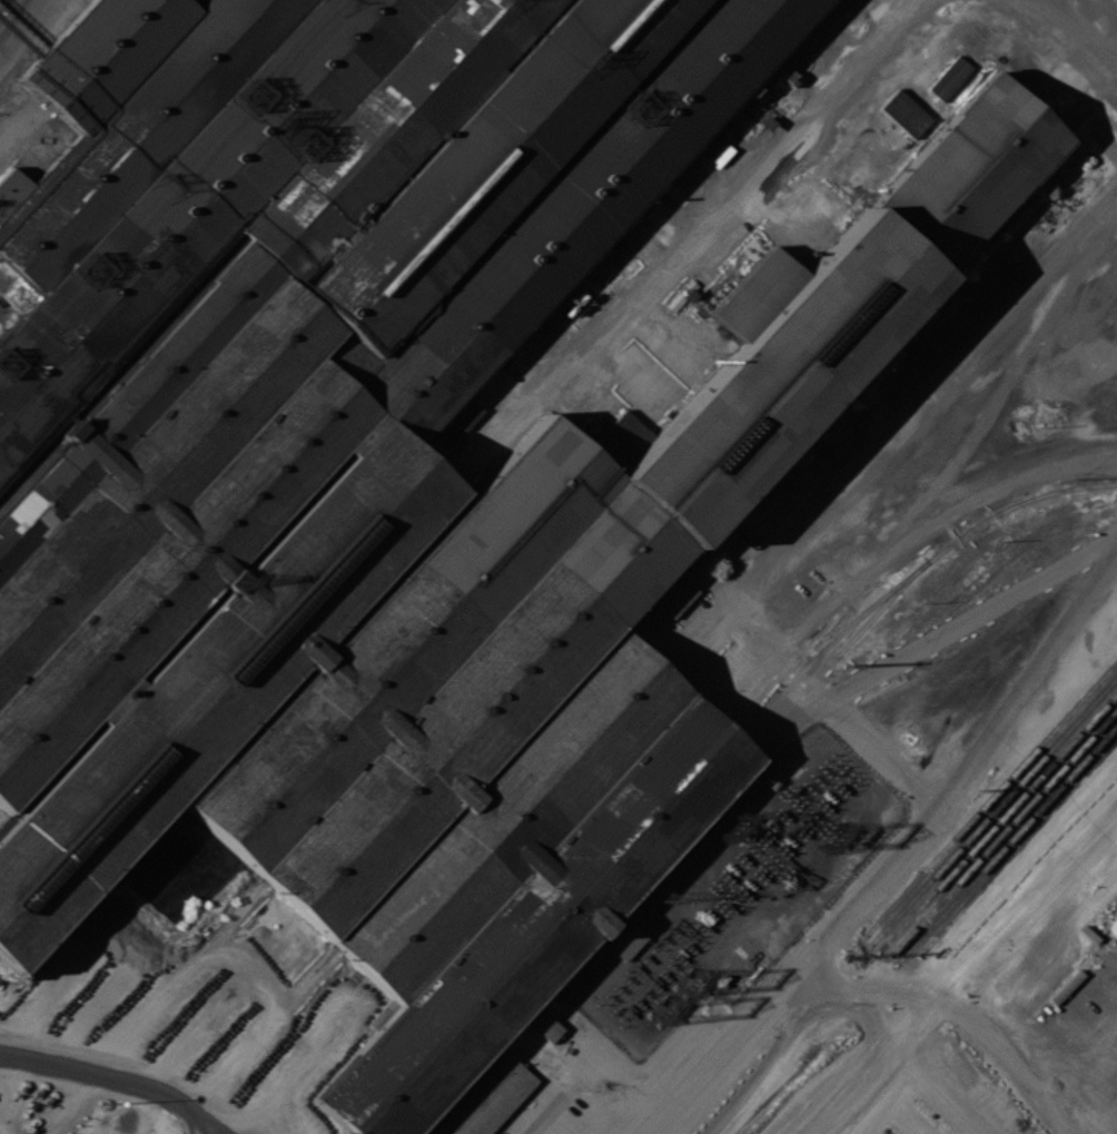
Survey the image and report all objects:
road: (11, 20)
road: (1077, 39)
building: (948, 78)
building: (905, 112)
road: (794, 140)
parking lot: (586, 373)
building: (392, 472)
railway: (989, 516)
railway: (829, 642)
railway: (820, 673)
railway: (1059, 738)
railway: (1080, 761)
railway: (990, 797)
railway: (997, 821)
railway: (1004, 830)
railway: (1019, 844)
railway: (936, 872)
railway: (970, 881)
road: (853, 903)
road: (204, 963)
railway: (975, 989)
building: (547, 1028)
railway: (980, 1037)
road: (1090, 1093)

